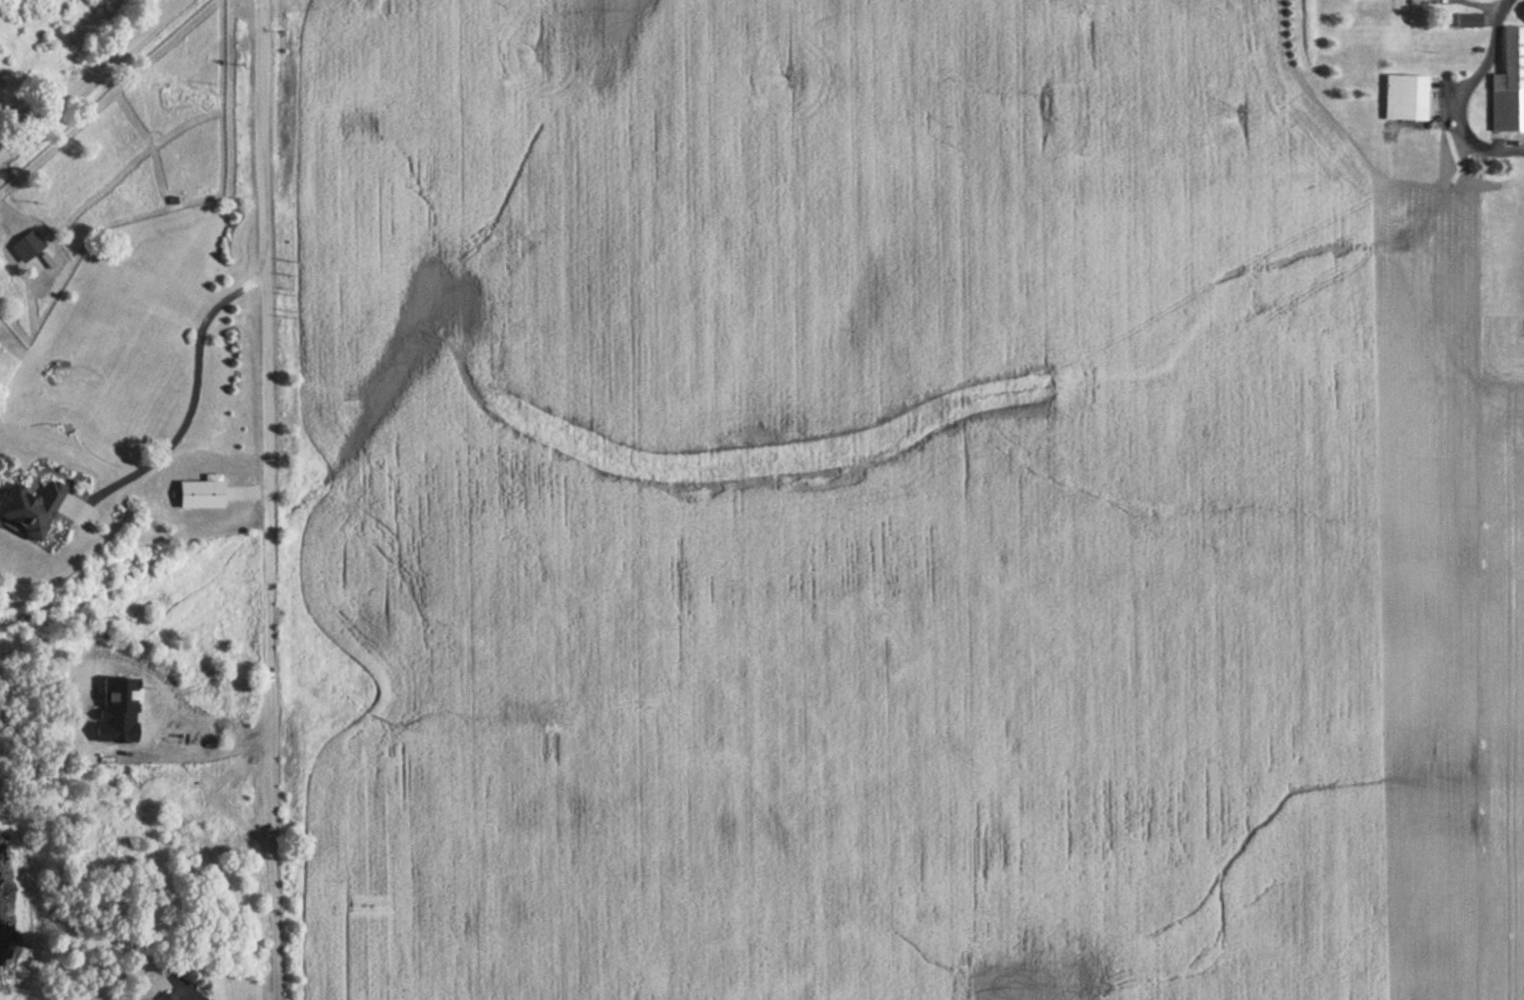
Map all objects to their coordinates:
road: (1479, 5)
road: (1491, 17)
building: (1466, 18)
road: (89, 80)
building: (1508, 82)
road: (1461, 95)
building: (1403, 96)
road: (3, 152)
road: (191, 395)
road: (270, 500)
building: (28, 508)
road: (209, 751)
building: (164, 997)

